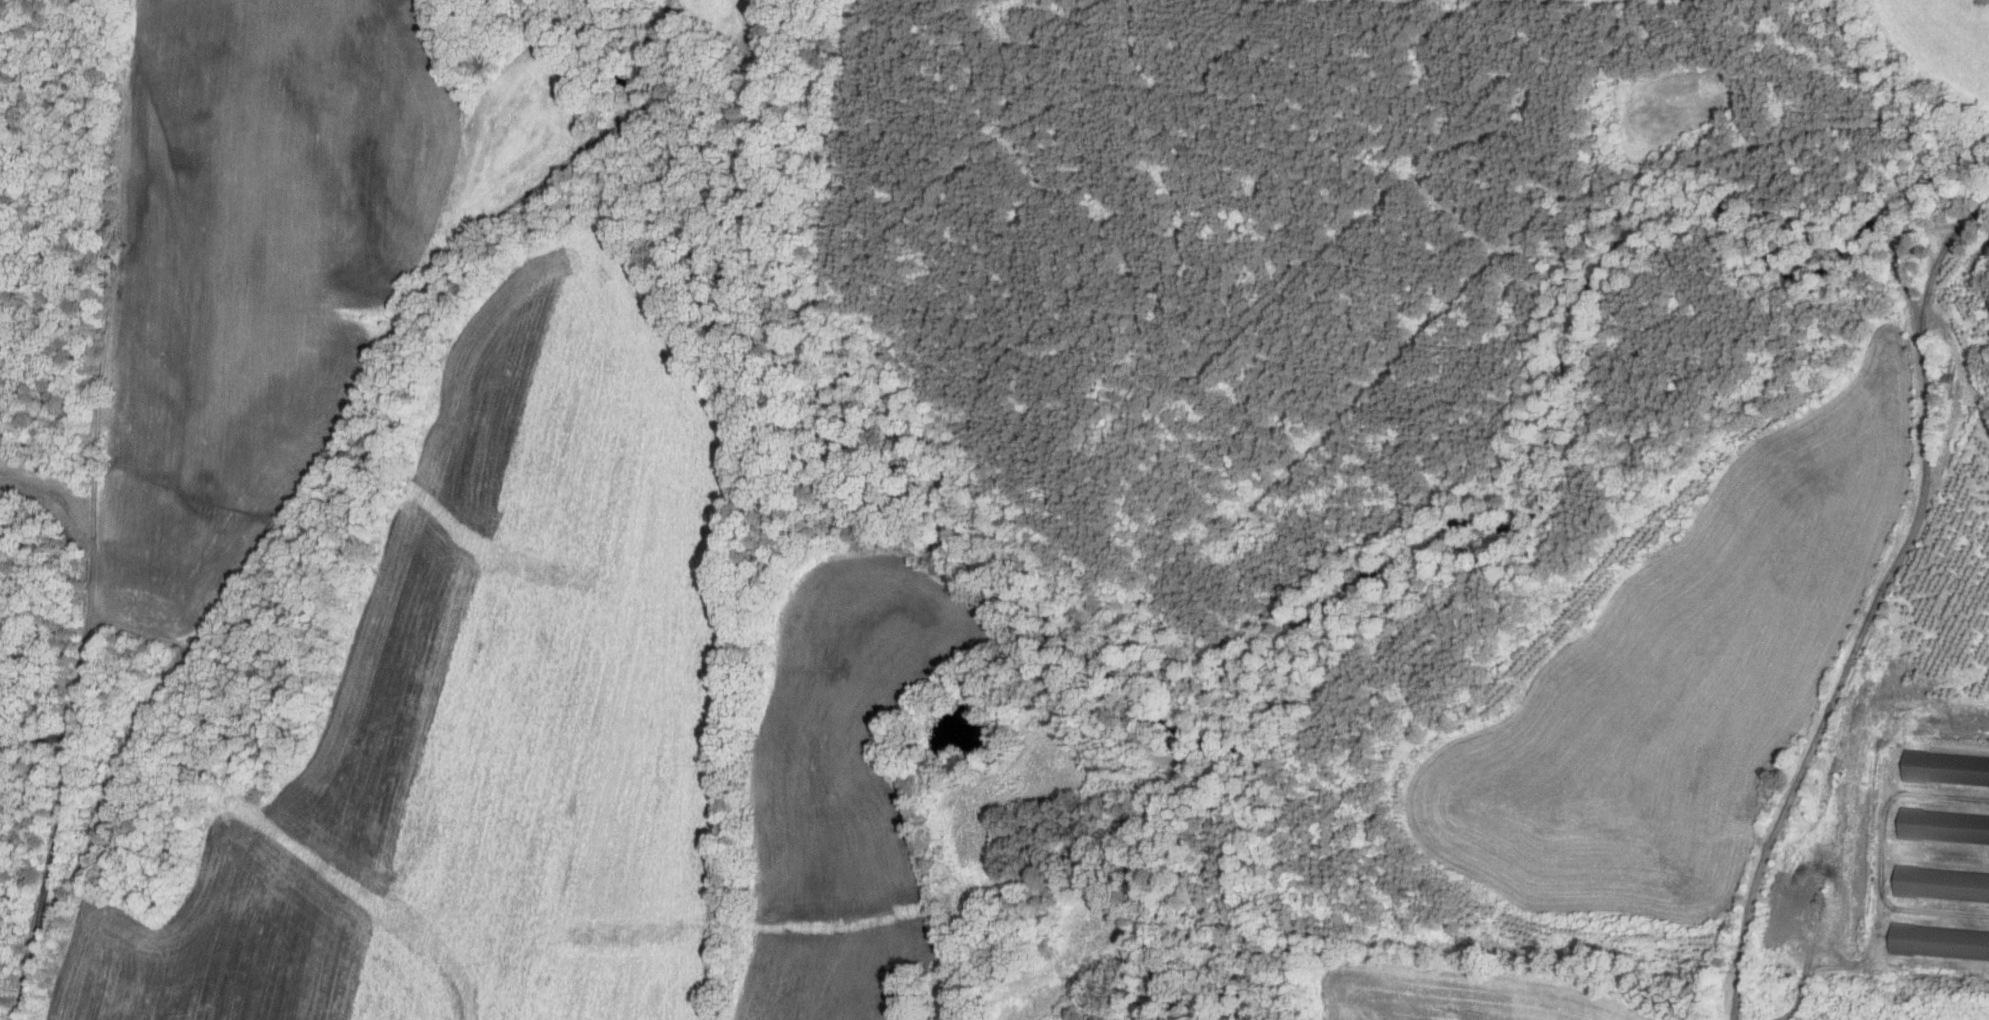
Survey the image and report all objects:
road: (210, 480)
road: (1874, 607)
road: (36, 740)
road: (70, 746)
building: (1944, 769)
building: (1942, 827)
building: (1940, 884)
building: (1937, 942)

